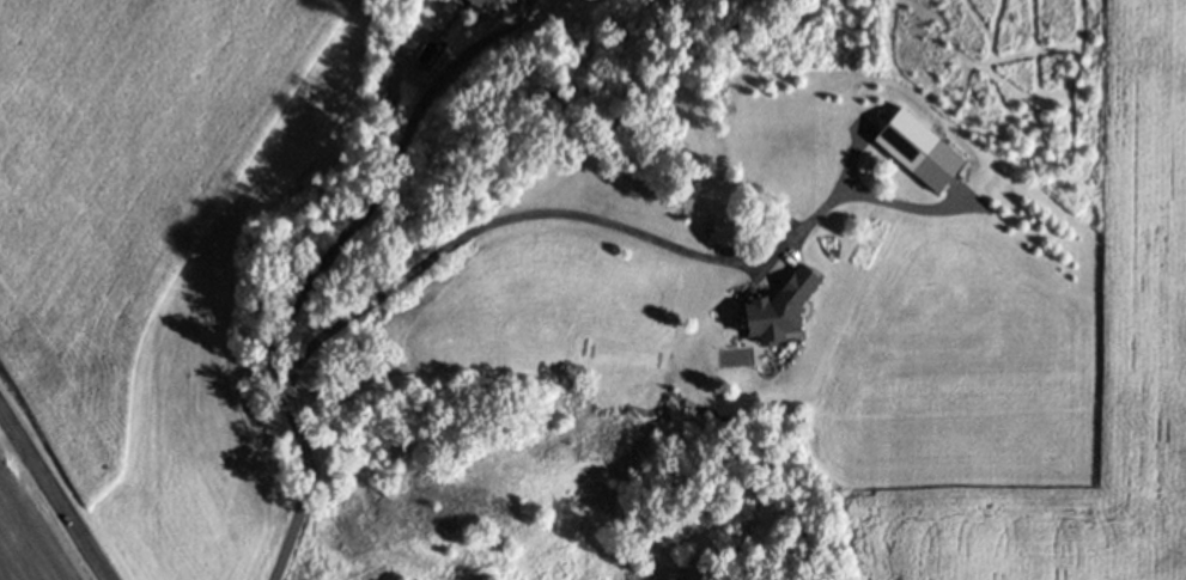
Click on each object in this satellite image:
building: (913, 149)
road: (560, 201)
road: (315, 260)
building: (779, 304)
road: (51, 494)

